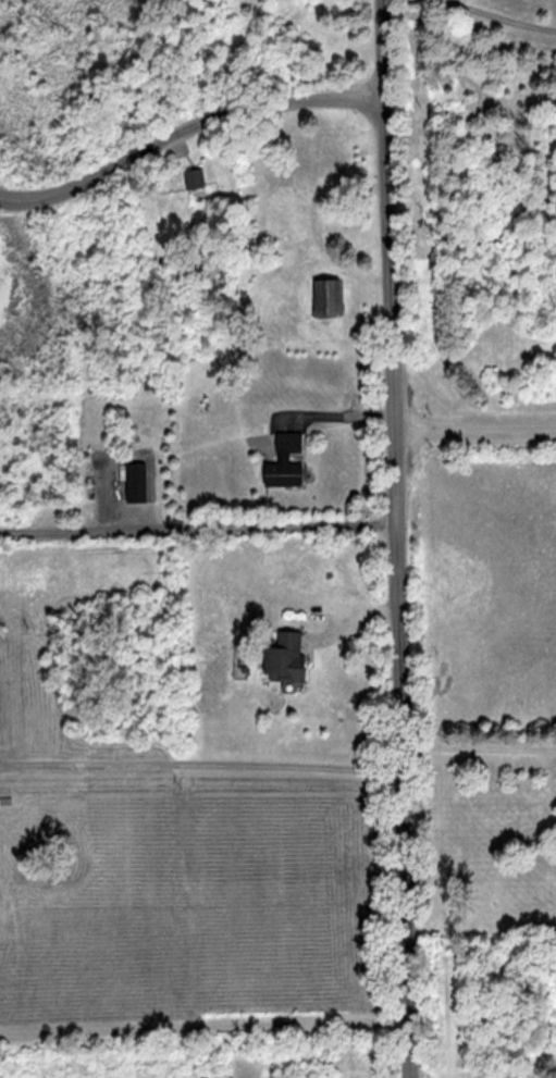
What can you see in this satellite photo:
road: (493, 17)
road: (184, 131)
building: (308, 166)
building: (196, 178)
building: (332, 296)
road: (473, 426)
building: (289, 462)
building: (138, 482)
road: (197, 528)
road: (395, 538)
building: (283, 657)
road: (478, 752)
road: (200, 763)
road: (205, 1031)

